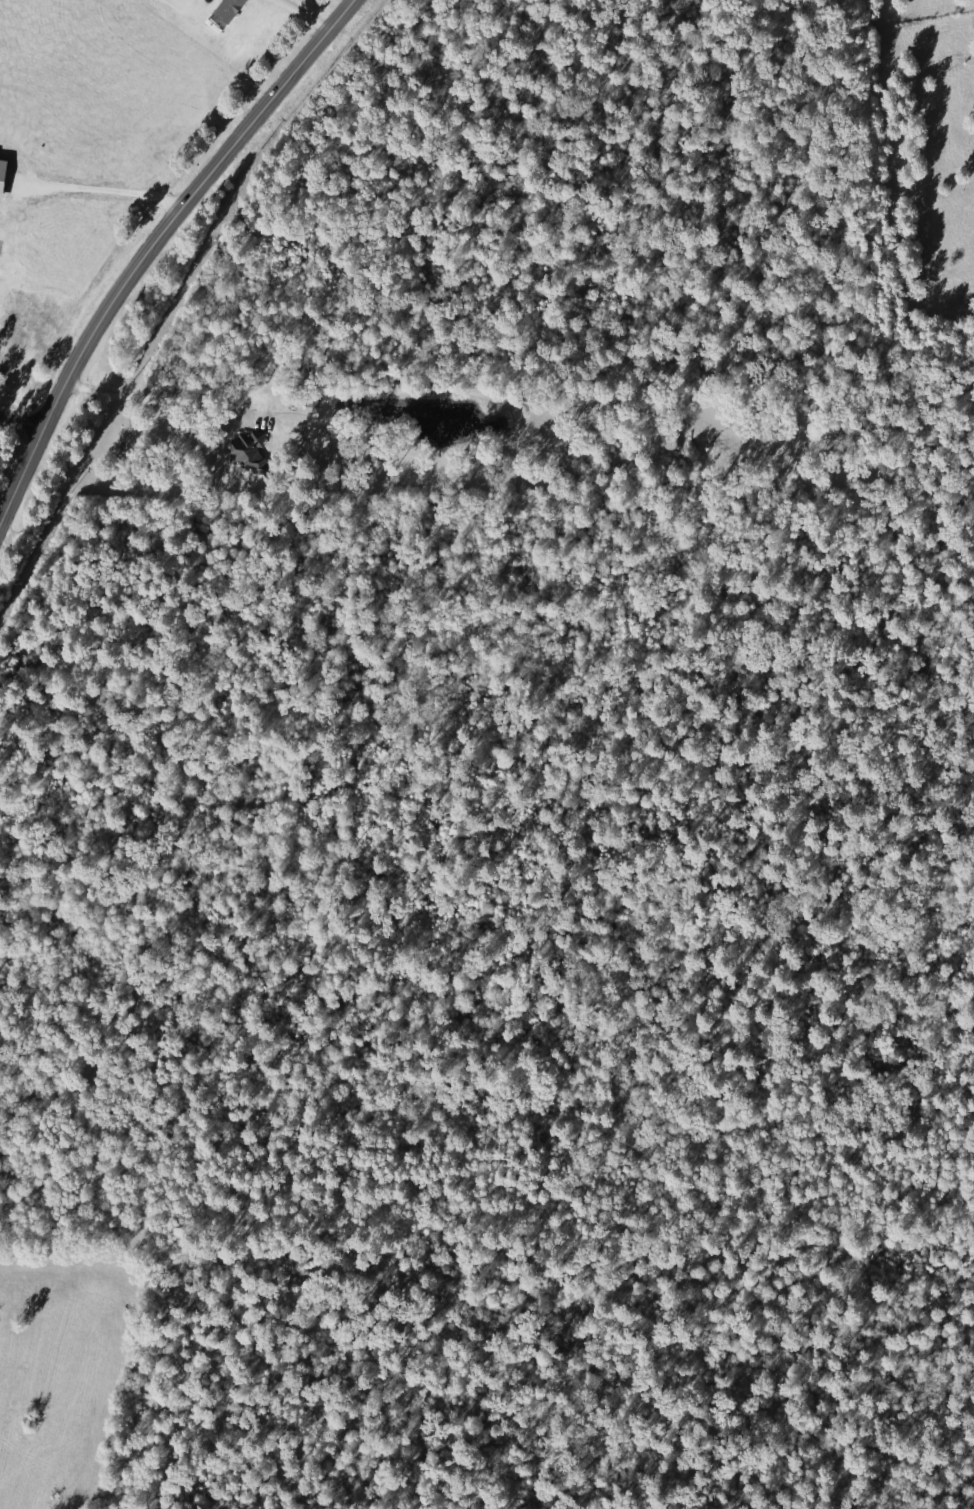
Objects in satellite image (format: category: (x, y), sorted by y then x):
building: (231, 10)
building: (4, 178)
road: (153, 245)
road: (22, 419)
building: (252, 450)

